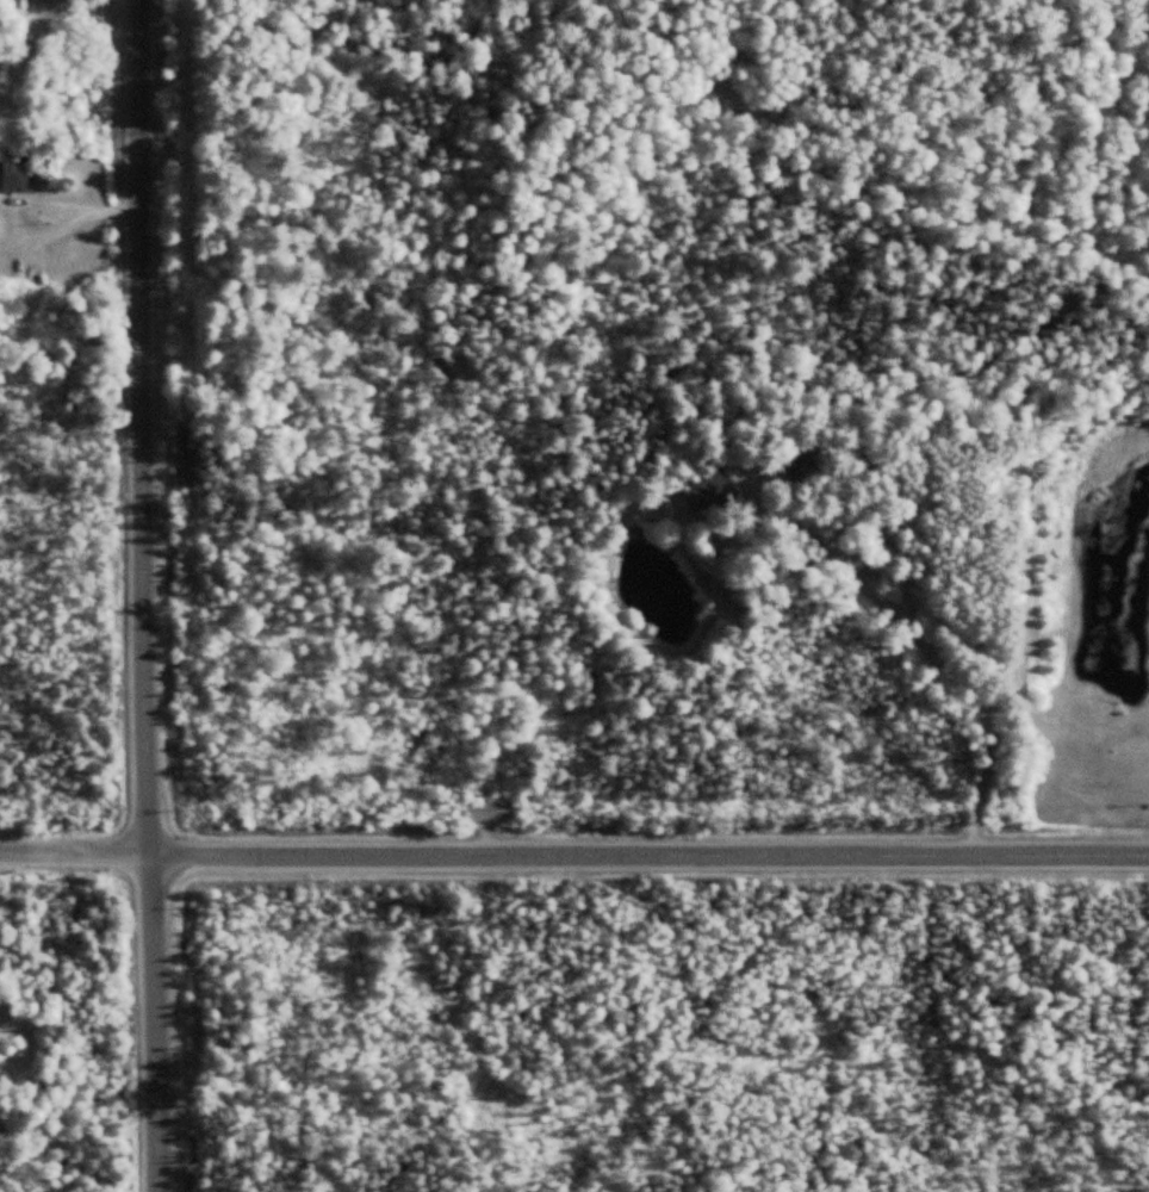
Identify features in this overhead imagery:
building: (0, 58)
building: (14, 176)
building: (11, 263)
building: (713, 486)
road: (153, 596)
road: (77, 844)
road: (651, 848)

